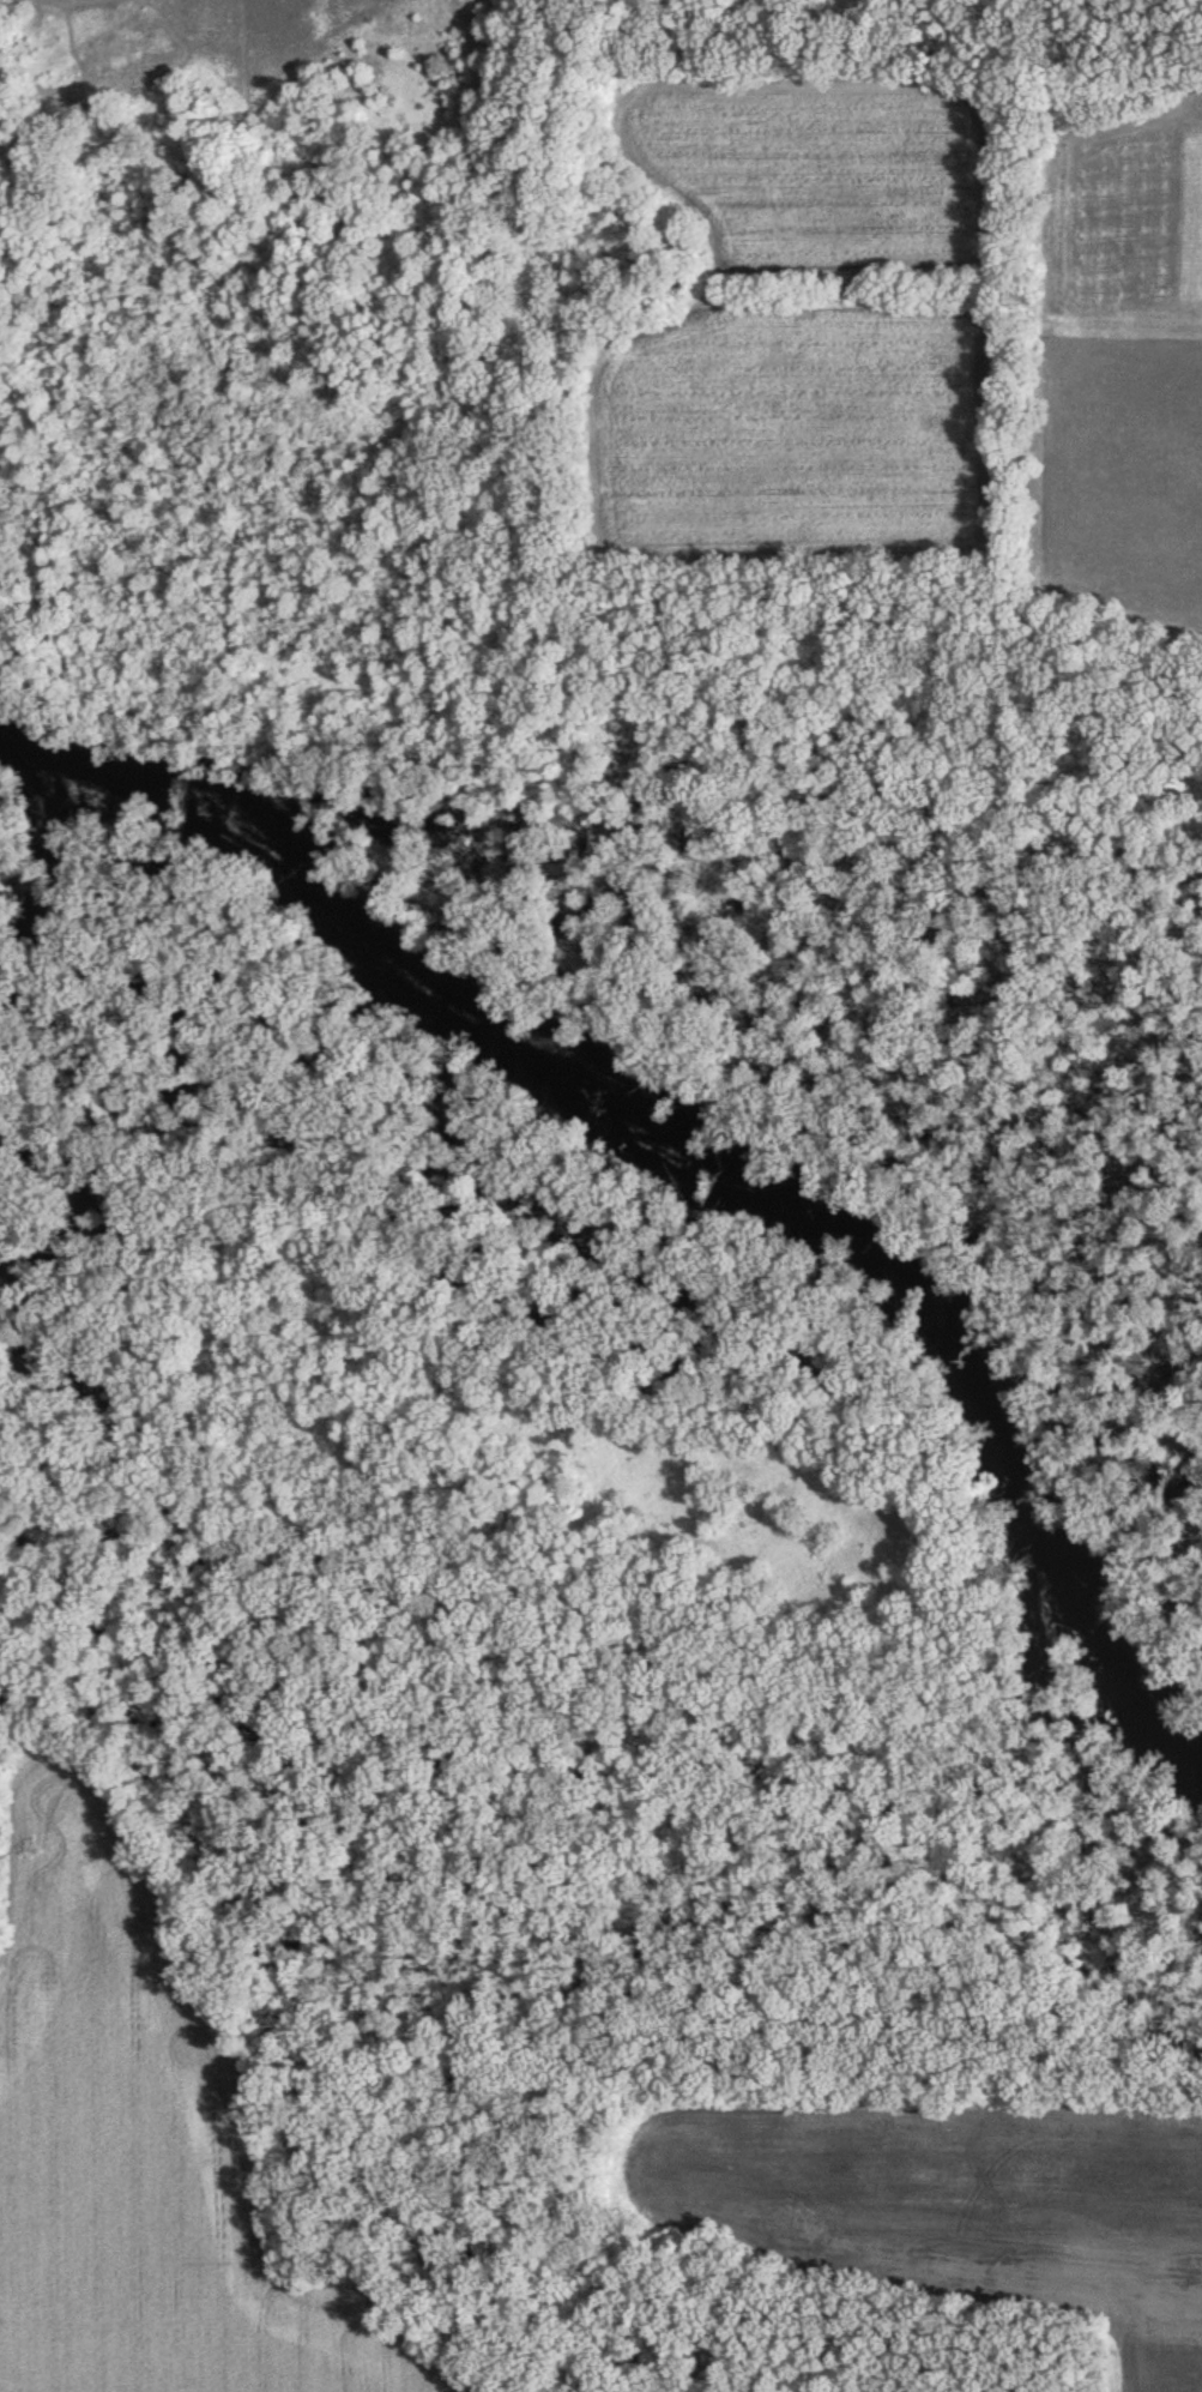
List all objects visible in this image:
river: (696, 1150)

